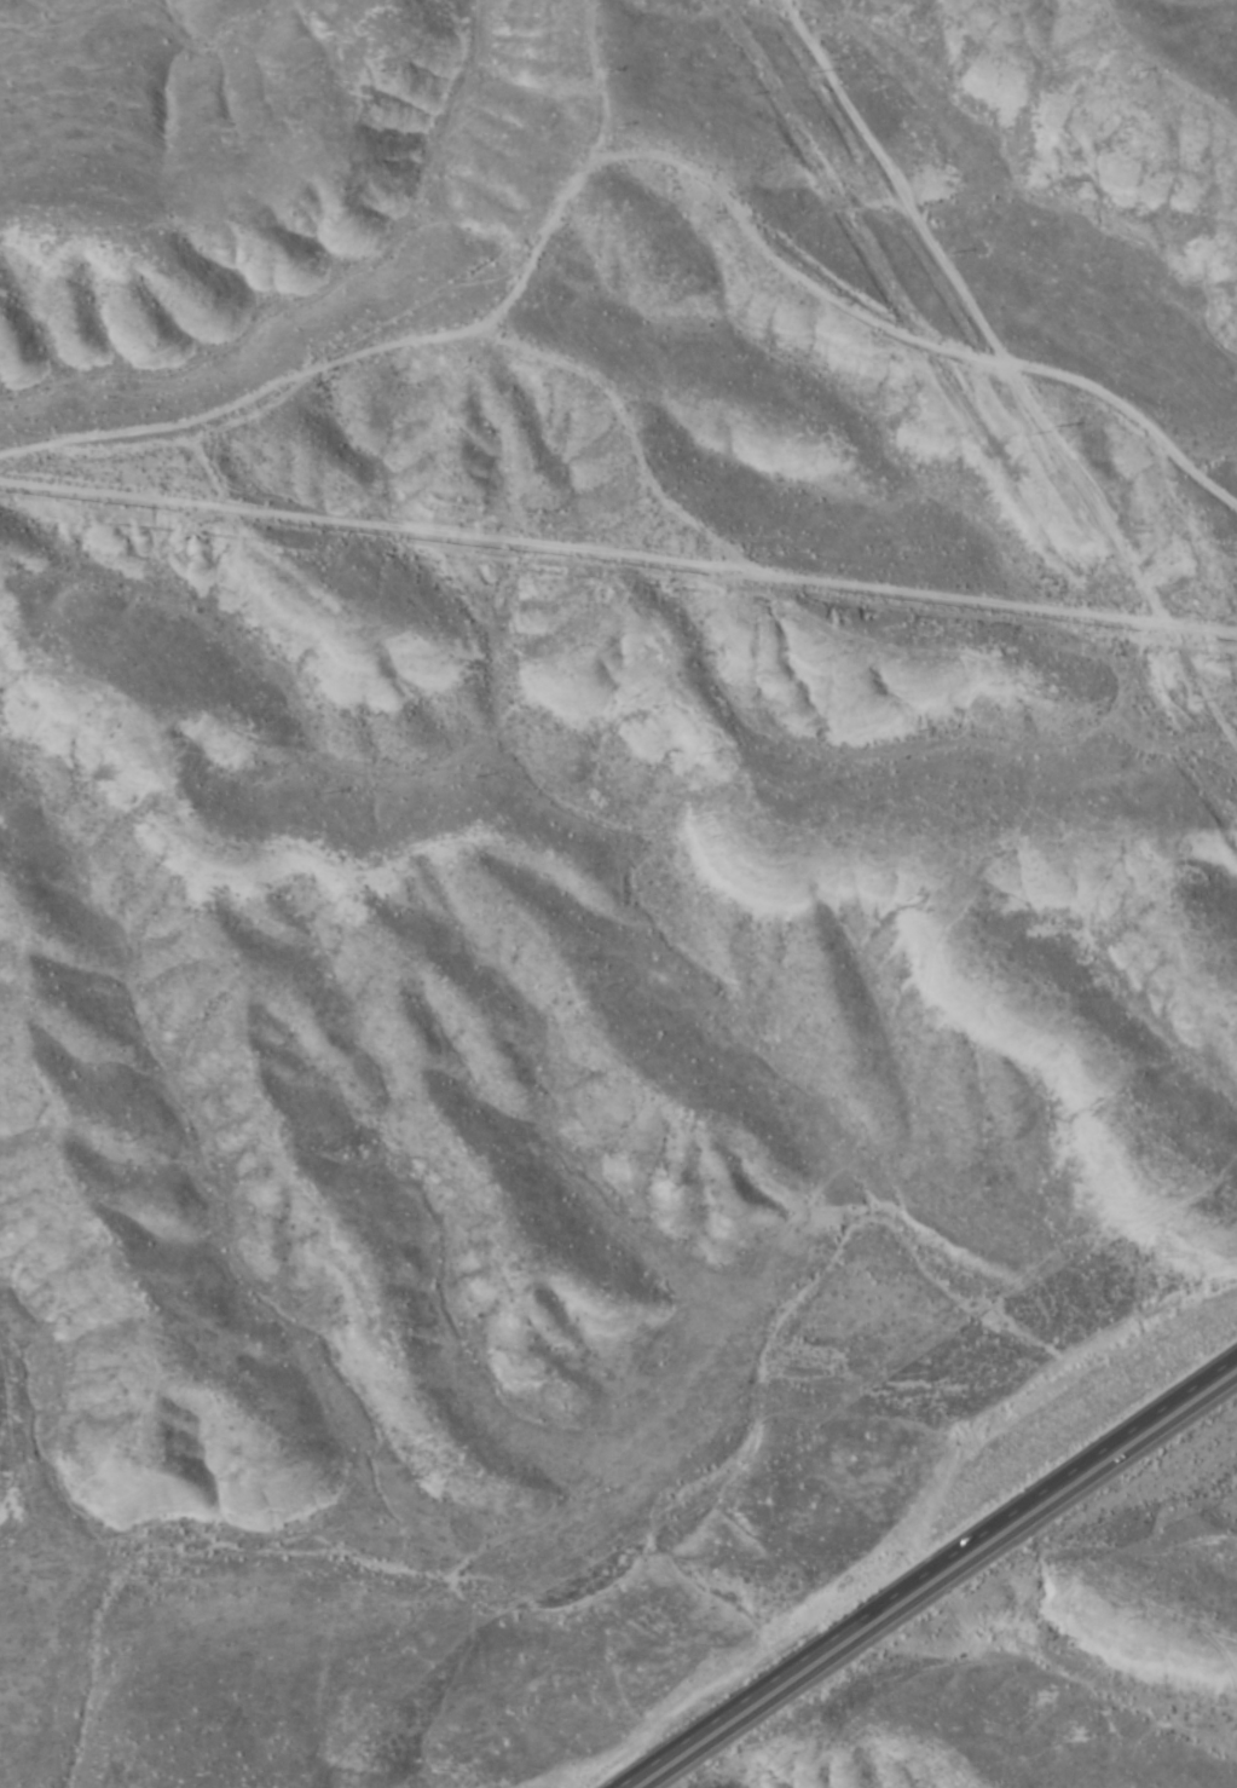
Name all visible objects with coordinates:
road: (728, 178)
road: (985, 282)
road: (936, 1581)
crop: (1099, 1706)

